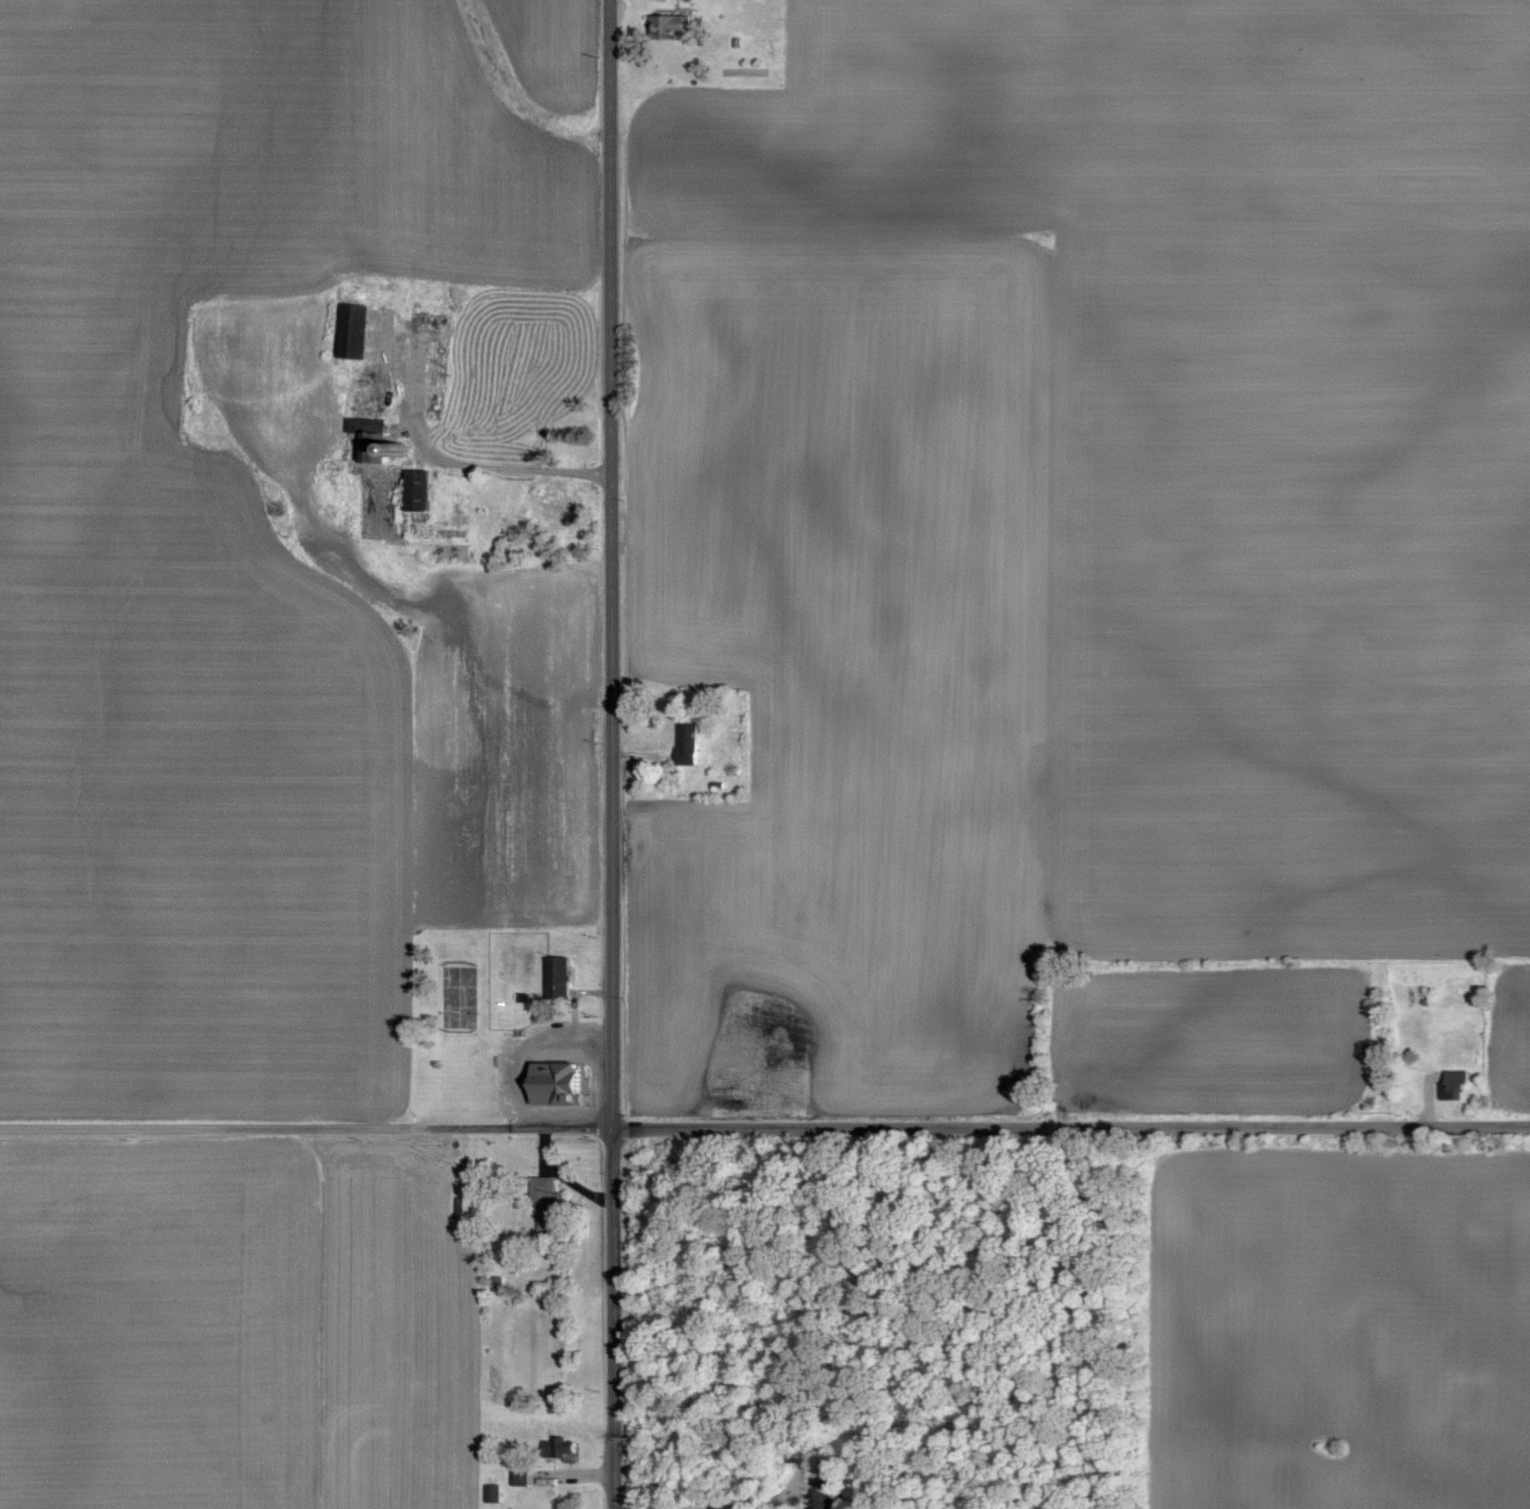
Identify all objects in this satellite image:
building: (673, 26)
building: (358, 330)
road: (507, 465)
building: (423, 489)
building: (555, 510)
road: (616, 564)
building: (692, 743)
building: (562, 979)
building: (1458, 1081)
building: (563, 1084)
road: (1072, 1126)
road: (307, 1127)
building: (550, 1204)
building: (468, 1207)
road: (617, 1319)
building: (561, 1446)
building: (523, 1477)
building: (495, 1492)

